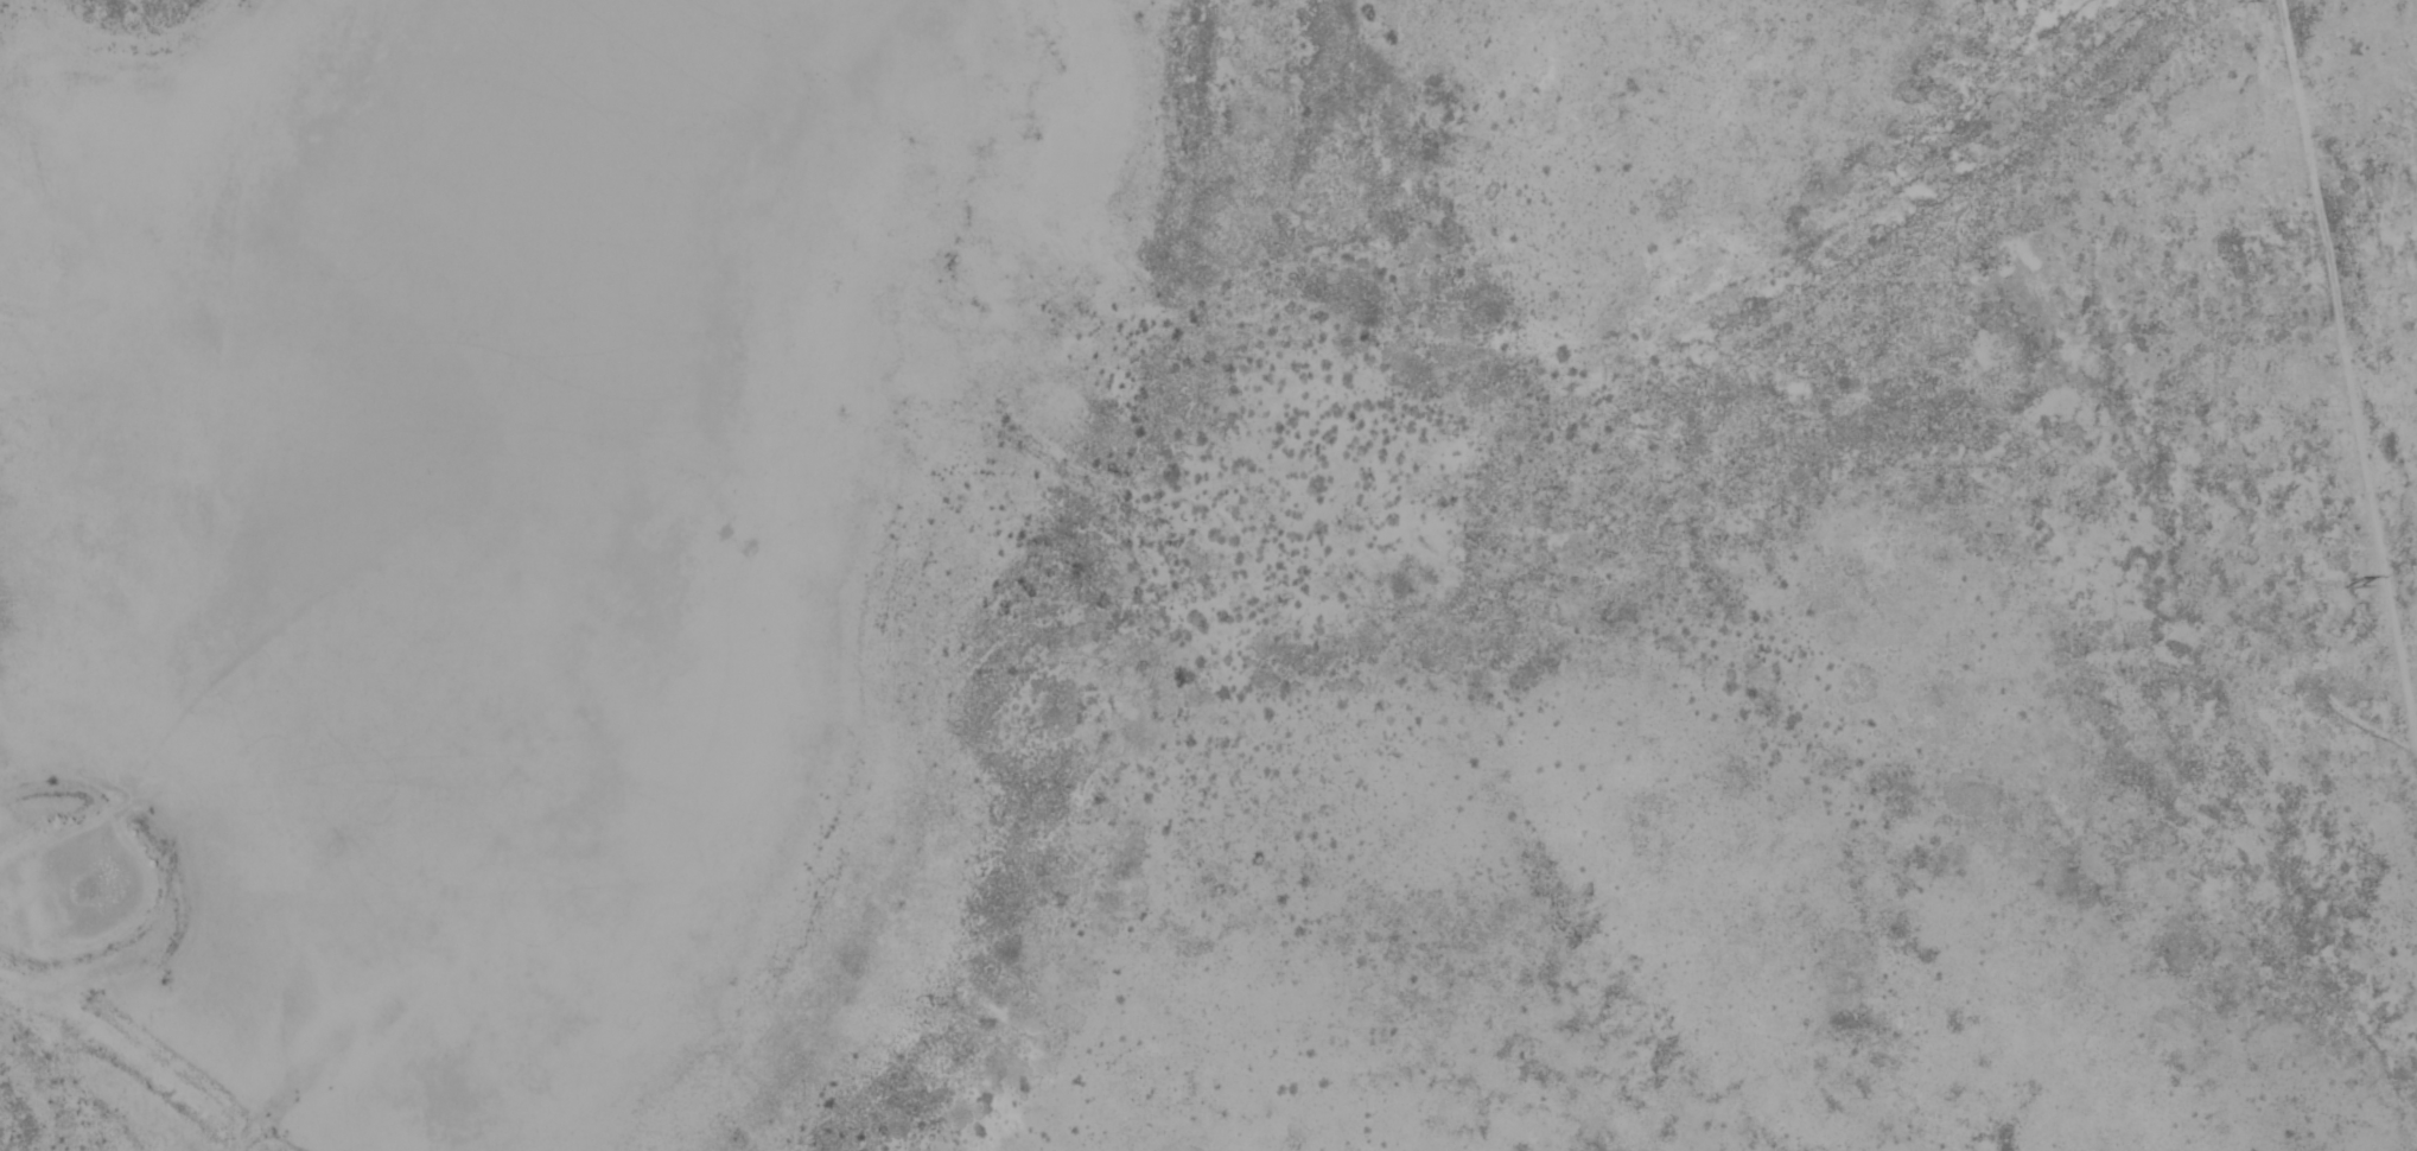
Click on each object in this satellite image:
power tower: (2249, 4)
road: (2392, 122)
power tower: (2355, 591)

